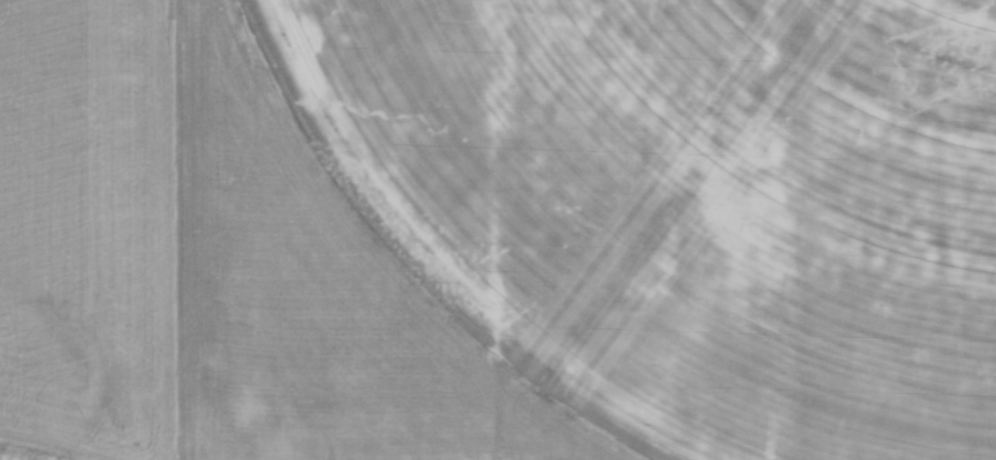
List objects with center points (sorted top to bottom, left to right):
crop: (498, 230)

